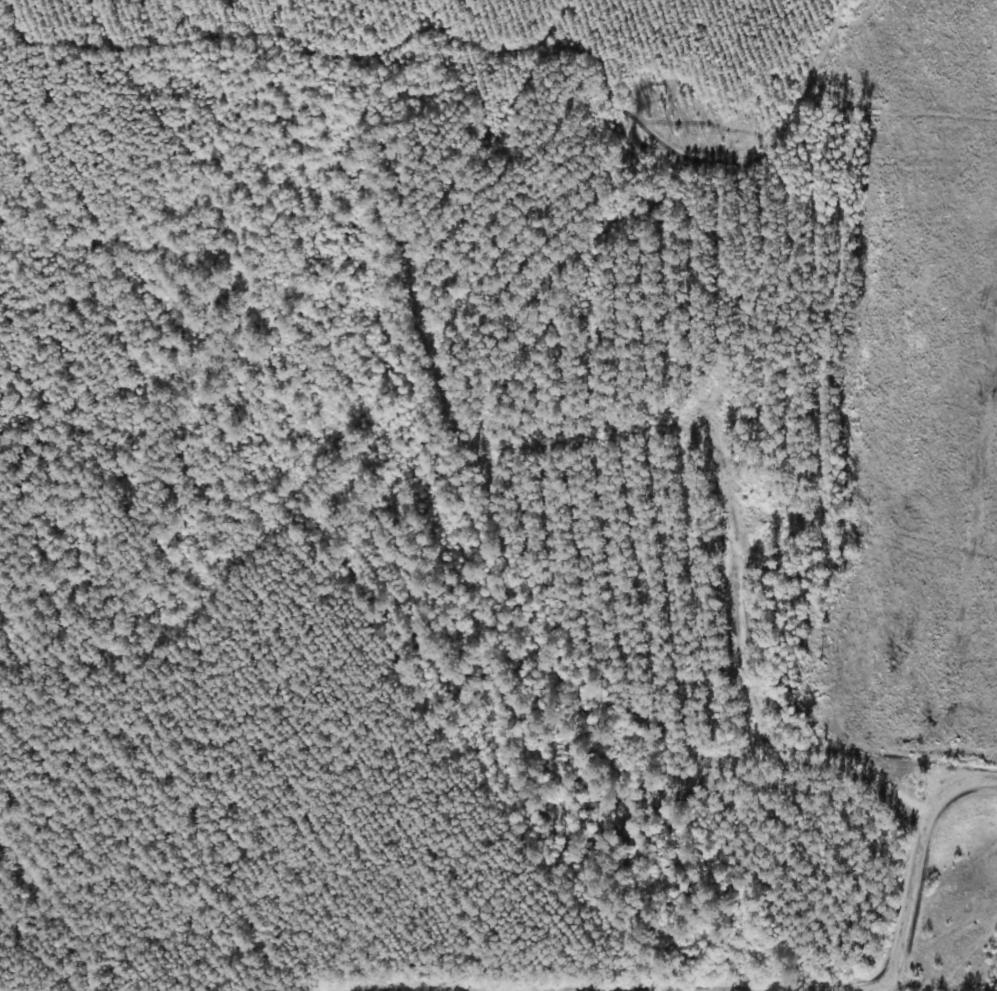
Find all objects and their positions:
road: (918, 864)

